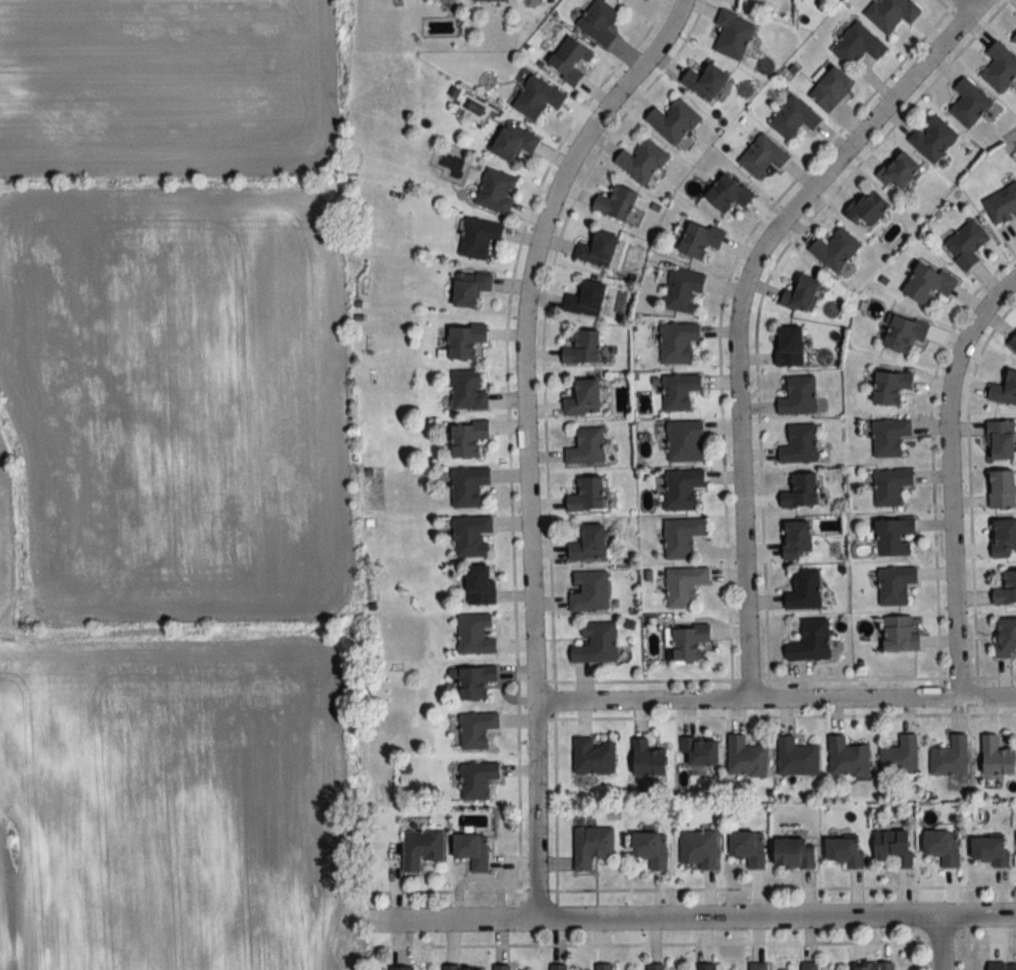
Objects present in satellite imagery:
building: (488, 0)
road: (965, 6)
road: (947, 10)
building: (891, 13)
building: (598, 22)
building: (733, 35)
building: (1015, 40)
building: (857, 45)
building: (569, 61)
building: (1001, 66)
building: (706, 82)
building: (831, 89)
building: (537, 98)
building: (969, 103)
building: (794, 119)
building: (673, 121)
building: (933, 138)
road: (877, 142)
building: (513, 143)
building: (762, 157)
building: (641, 162)
building: (899, 171)
building: (496, 191)
building: (728, 193)
building: (616, 204)
building: (1002, 205)
building: (866, 209)
building: (478, 237)
building: (700, 240)
building: (966, 244)
building: (835, 249)
building: (597, 250)
building: (928, 283)
building: (470, 288)
building: (683, 291)
building: (801, 294)
building: (586, 300)
road: (741, 306)
building: (904, 334)
building: (464, 340)
building: (677, 342)
building: (789, 347)
building: (582, 348)
building: (891, 385)
building: (1004, 390)
building: (467, 391)
building: (679, 392)
building: (798, 397)
building: (583, 399)
road: (525, 438)
building: (889, 438)
building: (468, 439)
building: (1001, 441)
building: (685, 442)
building: (799, 445)
building: (586, 448)
road: (948, 478)
building: (468, 487)
building: (891, 487)
building: (682, 489)
building: (1002, 490)
building: (801, 492)
building: (587, 496)
building: (471, 536)
building: (682, 537)
building: (894, 537)
building: (1004, 539)
building: (796, 540)
building: (589, 544)
building: (895, 585)
building: (480, 586)
building: (684, 586)
building: (804, 590)
building: (1006, 590)
building: (589, 591)
building: (900, 634)
building: (475, 635)
building: (1006, 638)
building: (810, 641)
building: (688, 642)
building: (595, 643)
building: (473, 682)
road: (776, 699)
building: (477, 729)
building: (701, 752)
building: (593, 756)
building: (900, 756)
building: (745, 758)
building: (796, 758)
building: (950, 758)
building: (997, 758)
building: (647, 759)
building: (847, 759)
building: (477, 779)
building: (591, 845)
building: (942, 845)
building: (894, 846)
building: (422, 847)
building: (748, 847)
building: (651, 848)
building: (698, 848)
building: (472, 849)
building: (845, 850)
building: (991, 850)
building: (794, 853)
road: (711, 920)
road: (940, 944)
building: (604, 966)
building: (655, 966)
building: (706, 966)
building: (758, 966)
building: (810, 966)
building: (874, 966)
building: (1002, 966)
building: (501, 967)
building: (558, 967)
building: (402, 968)
building: (463, 968)

